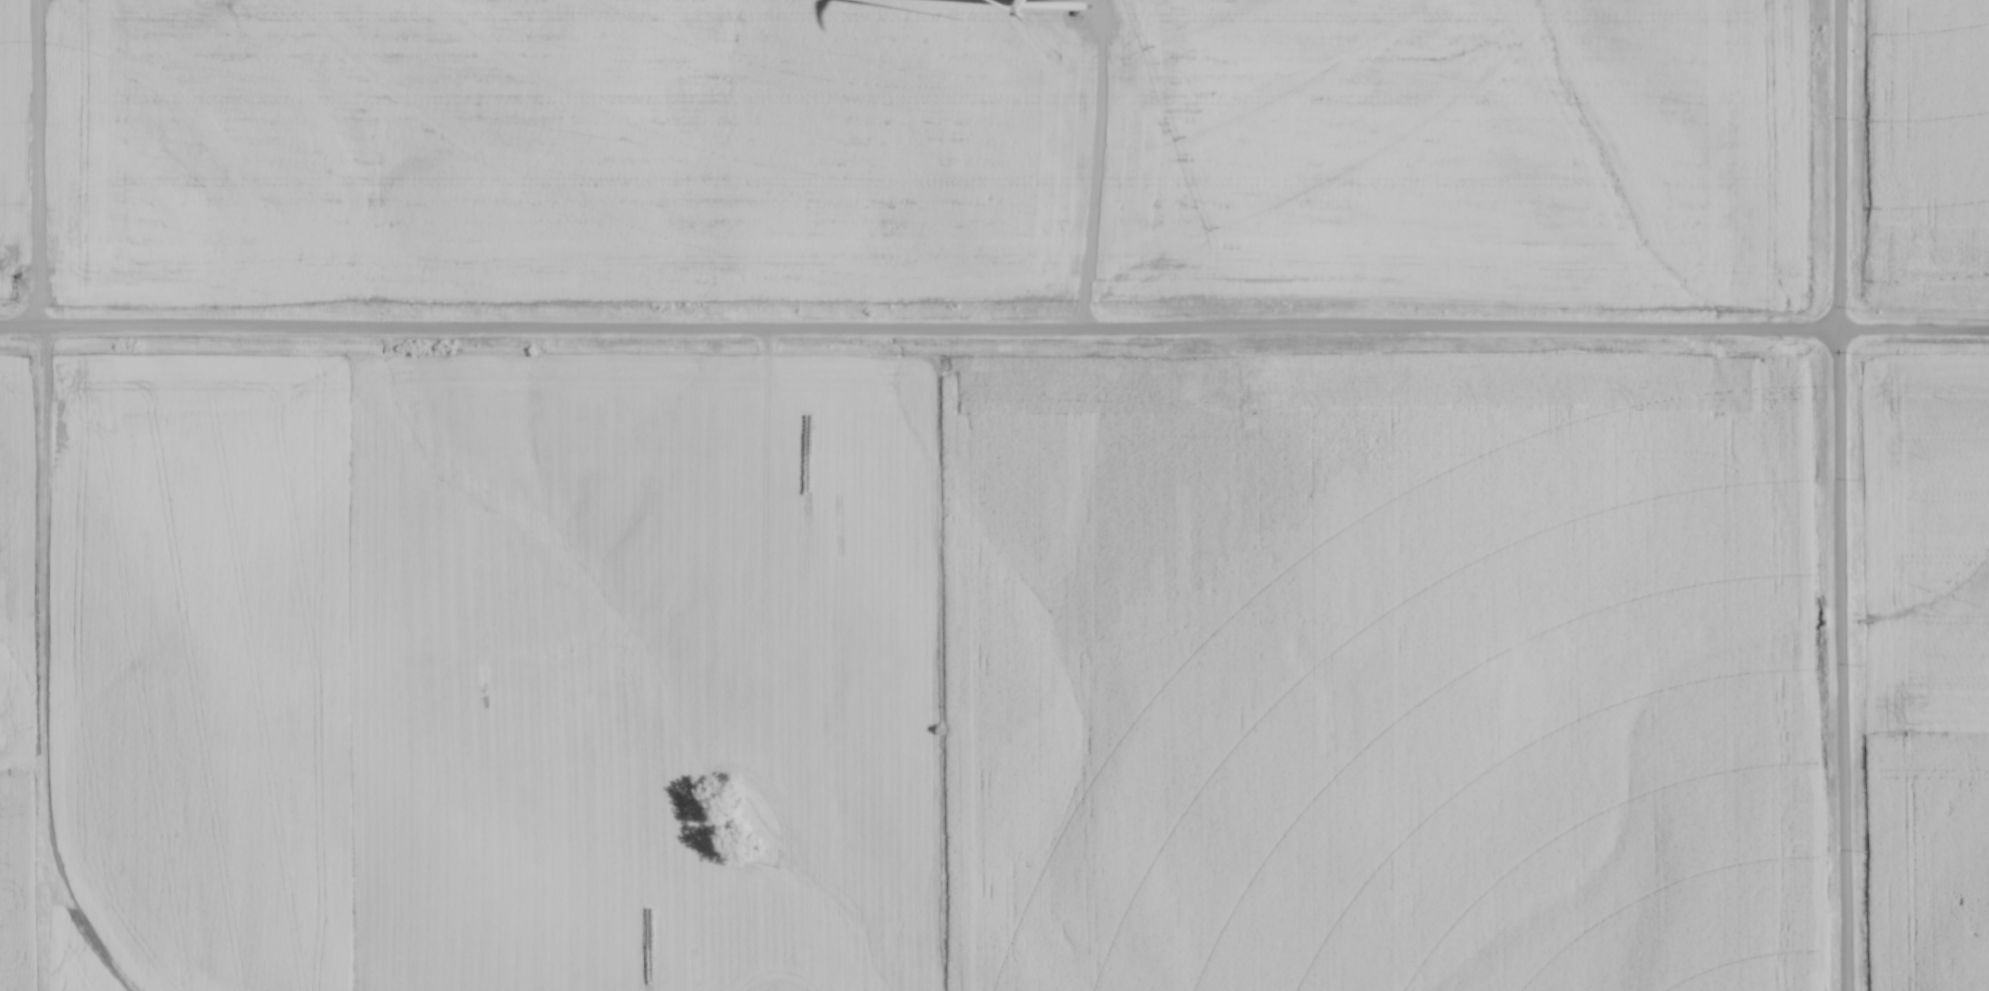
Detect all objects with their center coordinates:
wind turbine: (1081, 5)
road: (37, 162)
road: (1096, 167)
road: (994, 327)
road: (1834, 495)

